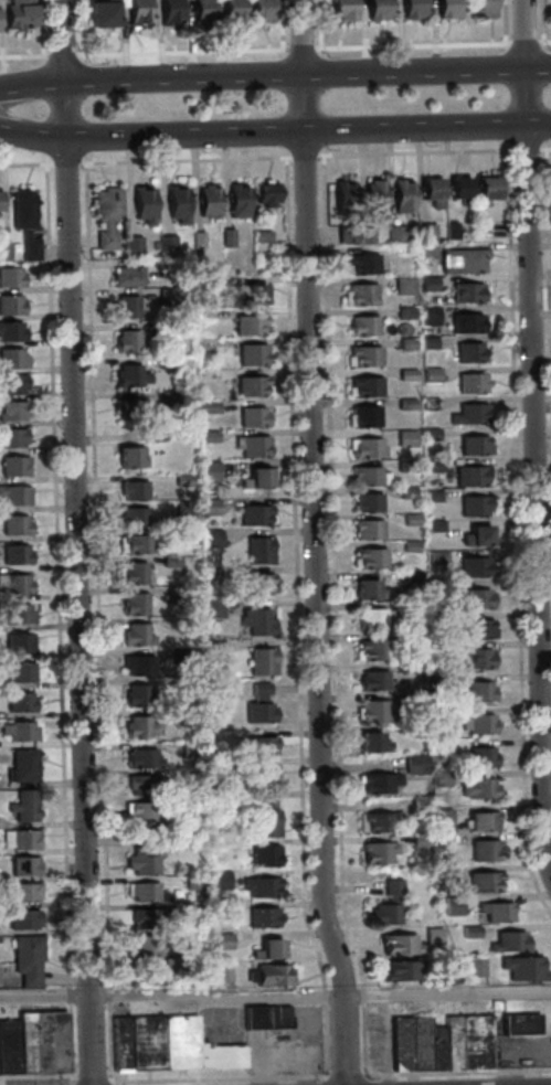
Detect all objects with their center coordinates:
building: (550, 4)
building: (341, 9)
building: (377, 9)
building: (411, 9)
building: (446, 9)
building: (481, 9)
building: (168, 11)
building: (259, 11)
building: (135, 12)
building: (201, 12)
building: (232, 12)
building: (19, 14)
building: (100, 14)
road: (541, 25)
road: (80, 26)
road: (504, 26)
road: (40, 28)
road: (318, 29)
road: (279, 30)
road: (543, 44)
road: (521, 45)
road: (294, 49)
road: (60, 54)
road: (20, 55)
road: (81, 60)
road: (42, 61)
road: (274, 76)
road: (538, 95)
road: (509, 98)
road: (287, 103)
road: (316, 103)
road: (49, 109)
road: (76, 110)
road: (275, 131)
road: (504, 146)
road: (543, 148)
road: (524, 150)
road: (413, 152)
road: (301, 157)
road: (182, 160)
road: (64, 164)
road: (25, 166)
building: (458, 190)
building: (484, 190)
building: (430, 192)
building: (266, 194)
building: (372, 194)
building: (401, 196)
building: (342, 198)
building: (0, 199)
building: (206, 202)
building: (237, 202)
building: (176, 204)
building: (142, 205)
building: (105, 215)
building: (23, 222)
building: (449, 230)
building: (424, 232)
building: (393, 233)
building: (346, 234)
building: (261, 236)
building: (365, 236)
building: (226, 238)
building: (197, 240)
building: (165, 243)
building: (152, 244)
building: (130, 245)
building: (3, 252)
building: (460, 260)
building: (362, 265)
building: (126, 277)
building: (10, 278)
building: (203, 284)
building: (427, 284)
building: (402, 286)
building: (465, 292)
building: (253, 295)
building: (360, 295)
building: (167, 296)
building: (10, 305)
building: (125, 307)
building: (403, 312)
building: (428, 316)
building: (465, 323)
building: (247, 325)
road: (547, 325)
building: (362, 327)
building: (166, 329)
building: (10, 331)
building: (126, 342)
building: (427, 342)
building: (405, 344)
building: (467, 353)
building: (251, 354)
building: (364, 357)
building: (11, 359)
building: (166, 362)
building: (405, 374)
building: (430, 375)
building: (128, 376)
building: (11, 384)
building: (469, 384)
building: (251, 386)
building: (365, 387)
building: (168, 397)
building: (427, 403)
building: (405, 405)
building: (208, 407)
building: (128, 409)
building: (11, 412)
building: (467, 414)
building: (251, 417)
building: (363, 417)
building: (152, 433)
building: (427, 435)
building: (206, 437)
building: (11, 438)
building: (405, 439)
road: (530, 439)
building: (473, 446)
building: (252, 447)
building: (365, 448)
building: (127, 458)
building: (404, 466)
building: (13, 467)
building: (432, 467)
building: (208, 471)
building: (364, 477)
building: (470, 477)
building: (257, 479)
building: (182, 480)
building: (131, 491)
building: (405, 492)
building: (13, 496)
building: (431, 496)
building: (365, 503)
building: (473, 507)
building: (208, 508)
building: (183, 509)
building: (254, 515)
building: (131, 517)
building: (410, 520)
building: (13, 525)
building: (433, 525)
building: (367, 531)
building: (211, 538)
building: (475, 538)
road: (515, 538)
road: (74, 543)
road: (311, 544)
building: (135, 545)
building: (409, 546)
building: (257, 551)
building: (13, 555)
building: (435, 557)
building: (369, 559)
building: (169, 562)
building: (188, 563)
building: (471, 567)
road: (55, 571)
building: (130, 573)
building: (209, 574)
building: (411, 576)
park: (545, 576)
building: (253, 583)
building: (14, 584)
building: (365, 591)
building: (174, 595)
building: (475, 599)
building: (134, 605)
building: (410, 608)
building: (211, 609)
building: (17, 614)
road: (96, 615)
road: (332, 616)
road: (294, 617)
building: (371, 618)
building: (255, 621)
building: (182, 625)
building: (477, 630)
building: (136, 637)
building: (18, 643)
building: (213, 647)
building: (371, 649)
building: (438, 649)
building: (182, 656)
building: (475, 659)
building: (259, 661)
building: (135, 664)
building: (414, 668)
building: (15, 672)
building: (371, 681)
building: (442, 682)
building: (183, 685)
building: (478, 692)
building: (138, 696)
building: (414, 702)
building: (20, 703)
building: (257, 705)
building: (371, 710)
building: (444, 714)
building: (188, 717)
building: (480, 724)
building: (139, 728)
building: (18, 732)
building: (370, 744)
building: (259, 745)
building: (187, 751)
building: (480, 757)
building: (141, 759)
building: (216, 763)
building: (413, 764)
building: (20, 767)
building: (262, 772)
building: (439, 778)
building: (378, 783)
building: (140, 786)
building: (480, 789)
building: (417, 805)
building: (22, 806)
building: (139, 811)
building: (265, 816)
building: (442, 820)
building: (375, 822)
building: (481, 822)
building: (18, 840)
building: (418, 841)
building: (163, 843)
building: (439, 843)
building: (483, 851)
building: (377, 853)
building: (262, 857)
building: (139, 863)
building: (22, 866)
building: (443, 871)
building: (219, 883)
building: (480, 883)
building: (191, 884)
building: (262, 889)
building: (21, 893)
building: (144, 894)
building: (388, 905)
building: (451, 905)
building: (220, 910)
building: (193, 912)
building: (497, 913)
building: (263, 917)
building: (20, 919)
building: (144, 919)
building: (476, 932)
building: (438, 935)
building: (229, 940)
building: (513, 942)
building: (151, 944)
building: (405, 944)
building: (277, 948)
building: (33, 959)
building: (178, 965)
building: (478, 966)
building: (529, 967)
building: (406, 970)
building: (227, 971)
building: (278, 975)
building: (456, 977)
road: (173, 993)
road: (448, 993)
road: (75, 994)
building: (262, 1018)
building: (284, 1018)
building: (526, 1024)
road: (75, 1039)
building: (127, 1040)
building: (32, 1041)
building: (56, 1041)
building: (187, 1041)
building: (152, 1042)
building: (457, 1042)
building: (479, 1042)
building: (415, 1043)
building: (13, 1045)
building: (0, 1049)
building: (443, 1049)
road: (515, 1049)
building: (226, 1056)
road: (457, 1072)
road: (96, 1074)
road: (40, 1075)
road: (350, 1076)
road: (219, 1078)
road: (370, 1082)
road: (329, 1083)

